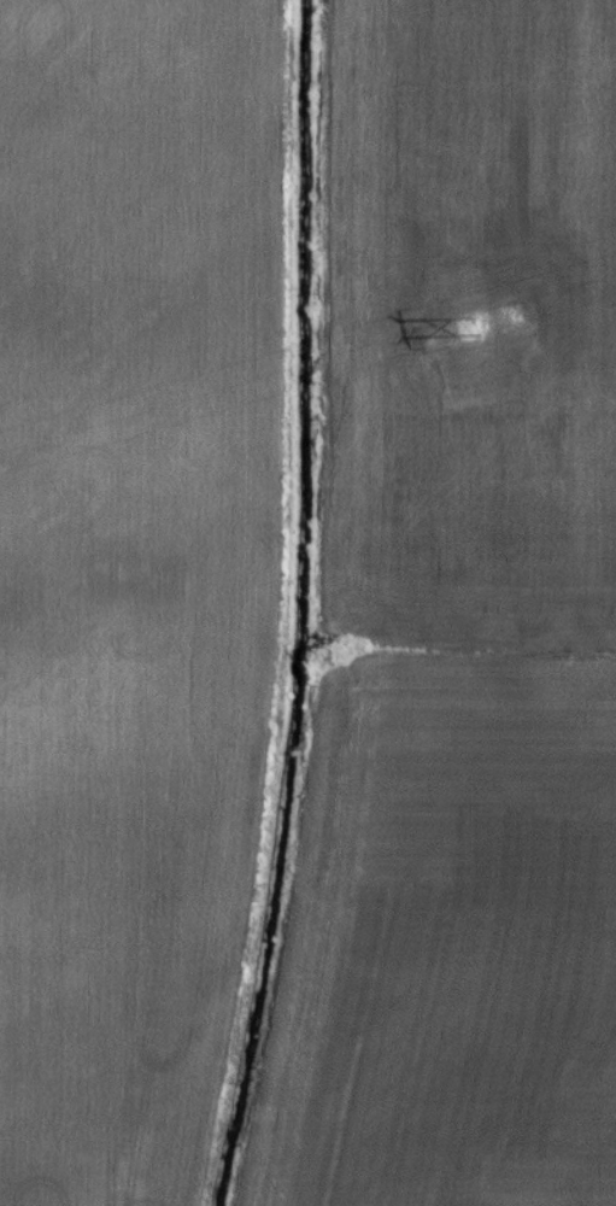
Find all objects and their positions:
power tower: (476, 332)

